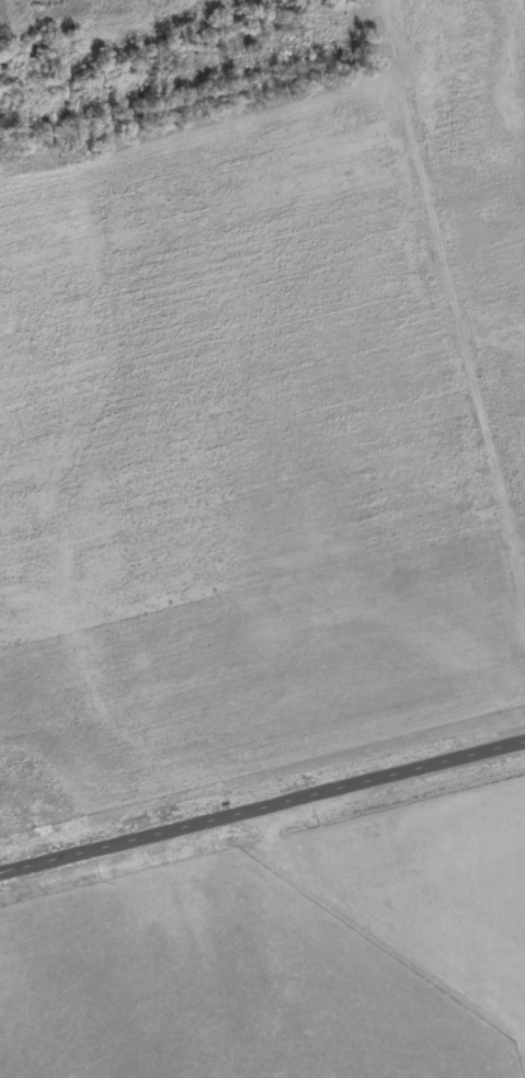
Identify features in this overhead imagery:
road: (262, 844)

